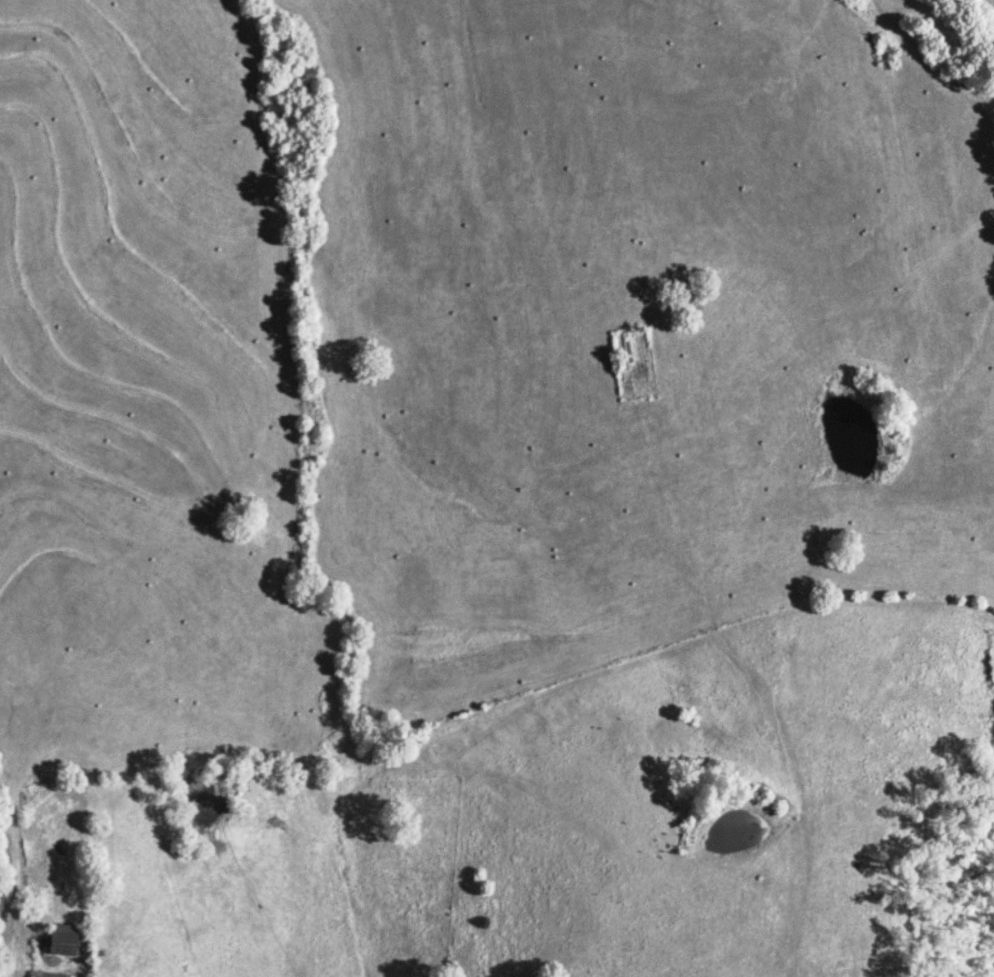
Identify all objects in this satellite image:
building: (50, 974)

